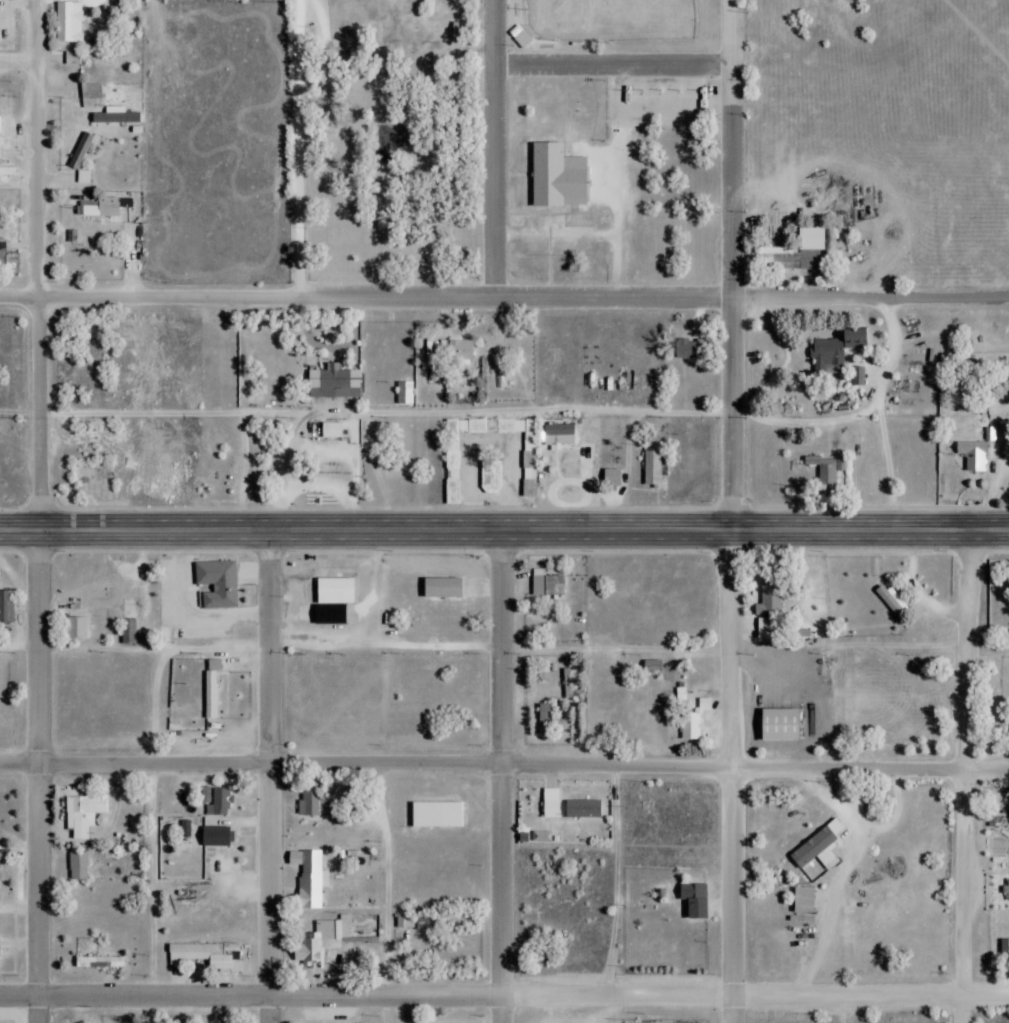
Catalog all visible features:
road: (104, 7)
park: (612, 18)
road: (517, 19)
parking lot: (314, 20)
road: (330, 20)
building: (67, 22)
road: (455, 23)
building: (461, 25)
road: (482, 27)
road: (508, 30)
road: (726, 30)
road: (614, 36)
building: (520, 38)
road: (331, 43)
road: (698, 48)
road: (539, 49)
road: (337, 52)
road: (352, 52)
road: (363, 58)
road: (524, 60)
road: (632, 60)
road: (18, 63)
road: (616, 67)
road: (466, 72)
road: (622, 76)
building: (91, 96)
road: (642, 123)
road: (620, 135)
road: (377, 136)
road: (459, 143)
road: (526, 143)
road: (300, 149)
road: (498, 149)
building: (80, 150)
road: (629, 155)
road: (719, 155)
park: (503, 165)
parking lot: (607, 168)
road: (518, 171)
building: (7, 173)
building: (562, 174)
road: (537, 203)
building: (101, 207)
road: (577, 207)
road: (551, 211)
road: (527, 230)
parking lot: (563, 230)
road: (600, 230)
road: (559, 232)
road: (358, 248)
road: (593, 249)
road: (619, 250)
building: (1, 254)
building: (790, 258)
road: (553, 265)
road: (37, 267)
road: (735, 267)
road: (504, 299)
road: (1006, 299)
building: (685, 349)
building: (459, 350)
building: (836, 350)
building: (328, 382)
building: (403, 393)
road: (879, 412)
road: (441, 414)
road: (246, 415)
building: (330, 431)
building: (558, 434)
building: (529, 445)
building: (973, 455)
building: (463, 458)
building: (824, 469)
building: (652, 470)
building: (611, 478)
road: (504, 533)
building: (217, 583)
building: (547, 584)
building: (441, 588)
building: (337, 591)
building: (142, 604)
building: (6, 607)
building: (76, 629)
road: (484, 648)
building: (651, 665)
building: (211, 695)
building: (690, 726)
road: (504, 764)
road: (272, 777)
road: (39, 778)
road: (504, 778)
road: (732, 778)
road: (966, 778)
building: (219, 801)
building: (309, 803)
building: (582, 808)
building: (83, 813)
building: (436, 814)
building: (185, 828)
building: (214, 836)
building: (221, 864)
building: (77, 865)
building: (310, 879)
building: (1007, 889)
road: (388, 892)
road: (154, 894)
road: (616, 894)
building: (693, 899)
building: (413, 922)
building: (336, 936)
building: (206, 955)
building: (98, 962)
road: (504, 994)

